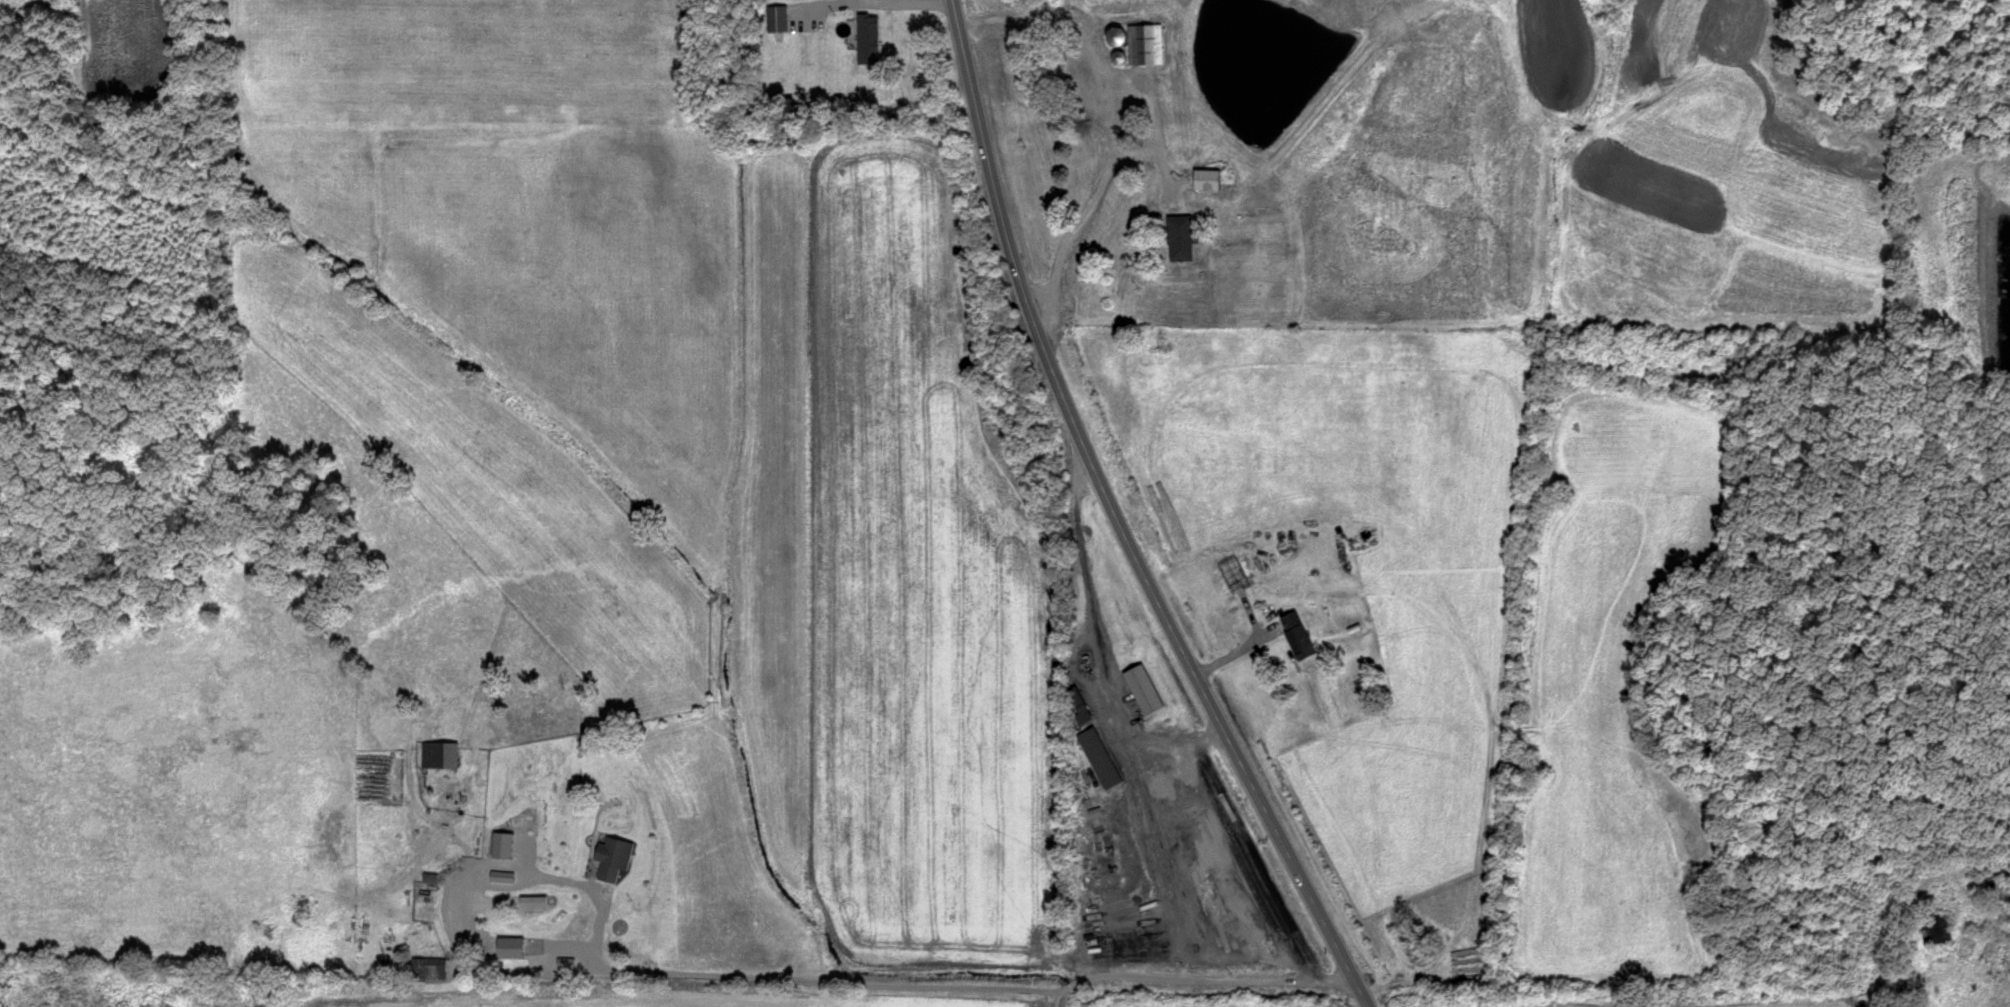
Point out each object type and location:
road: (929, 0)
road: (817, 5)
building: (778, 20)
building: (868, 33)
building: (1147, 45)
building: (1209, 179)
road: (1080, 231)
building: (1182, 238)
road: (1115, 520)
building: (1238, 574)
road: (1101, 641)
building: (1301, 642)
building: (1144, 690)
building: (442, 756)
building: (1100, 758)
building: (503, 846)
building: (502, 881)
building: (1946, 931)
building: (1124, 933)
building: (605, 936)
building: (429, 969)
road: (965, 989)
road: (1058, 1000)
road: (2009, 1006)

